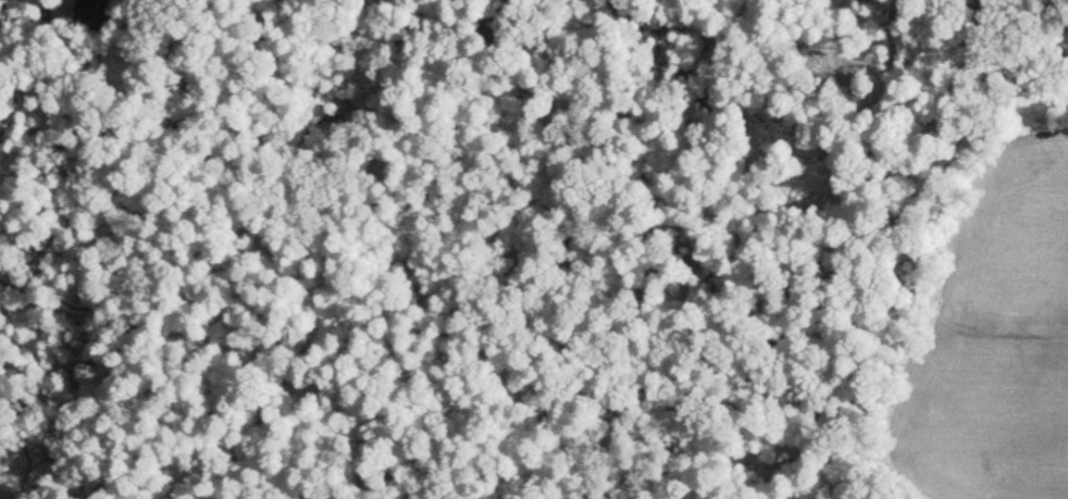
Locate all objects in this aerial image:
building: (84, 14)

